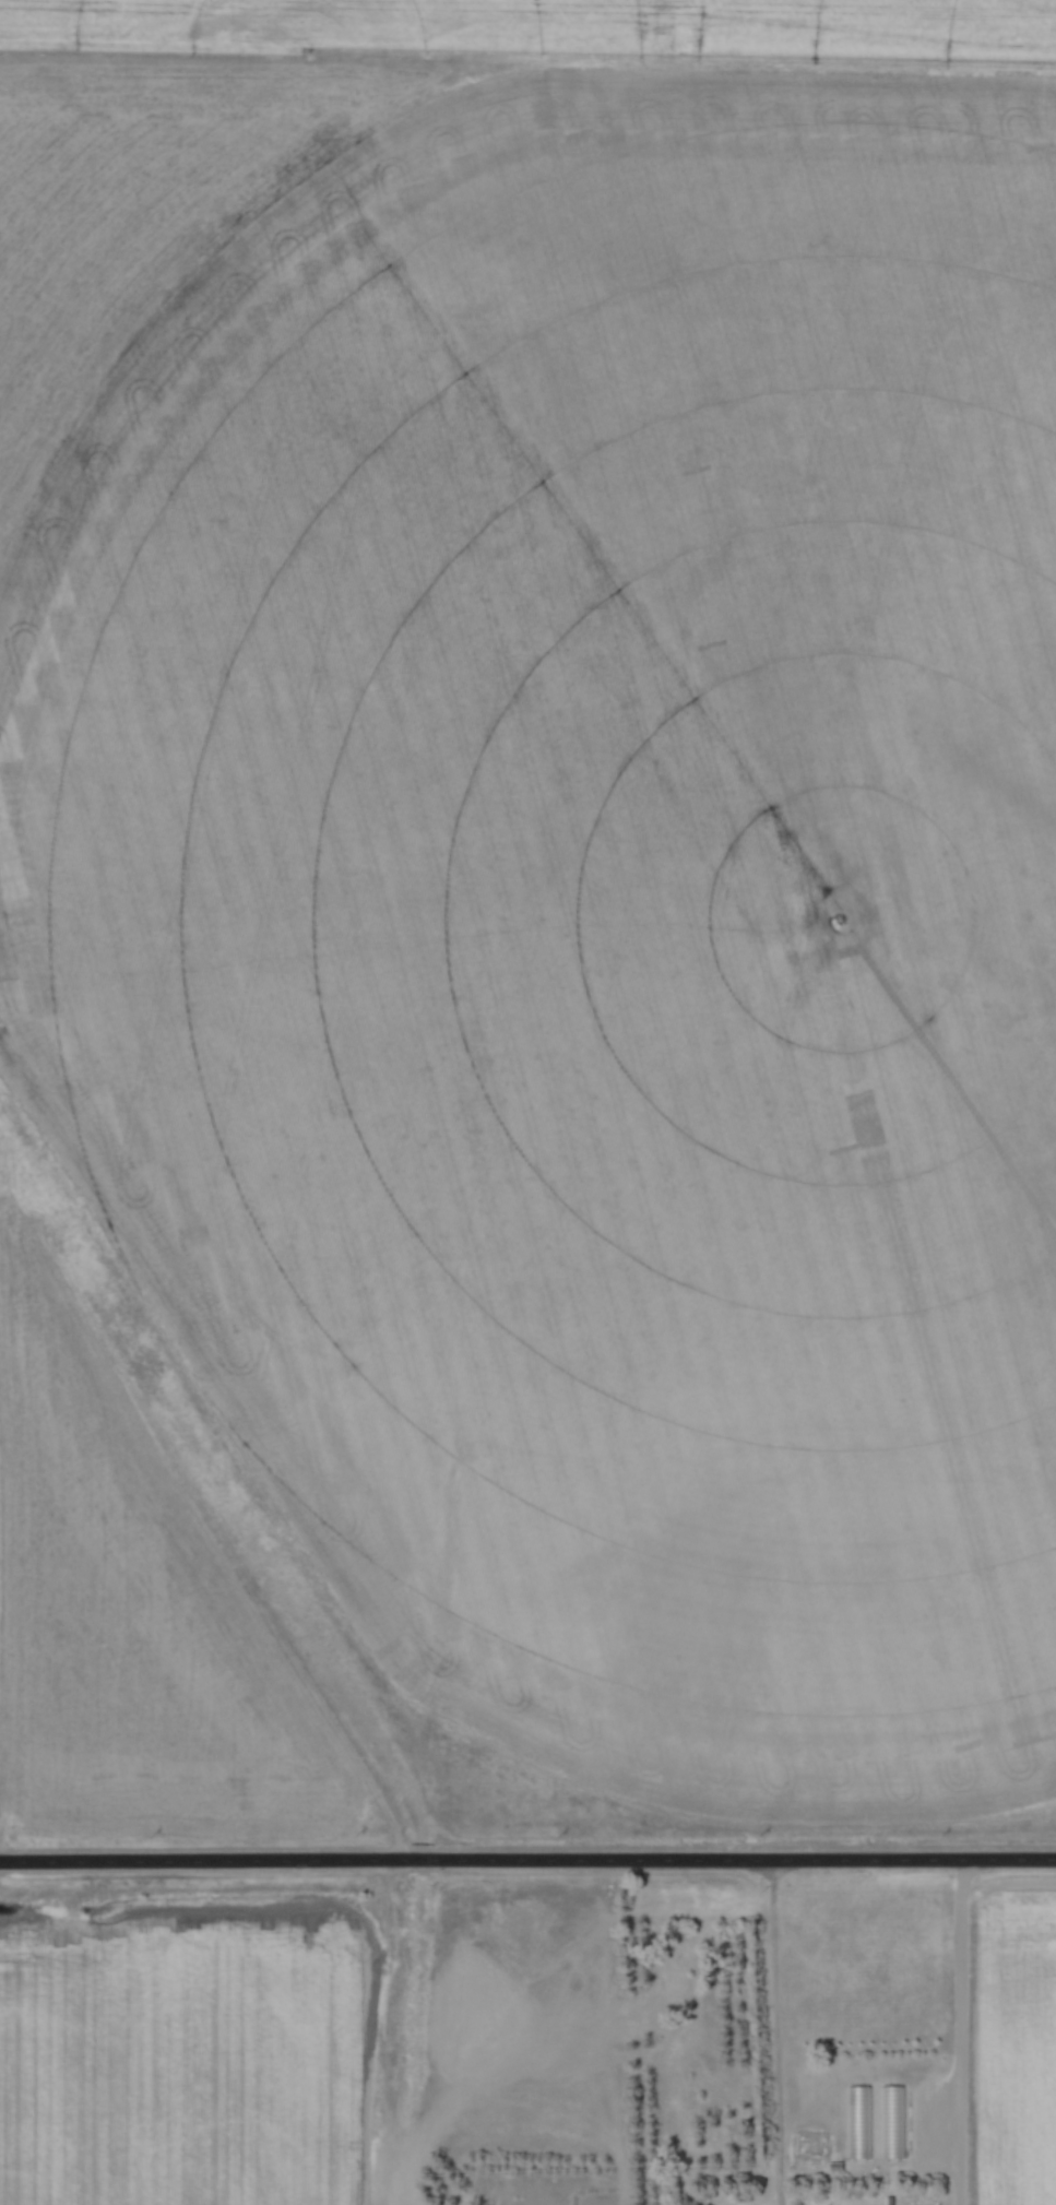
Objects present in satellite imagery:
road: (527, 1860)
road: (778, 2032)
building: (862, 2122)
building: (894, 2122)

